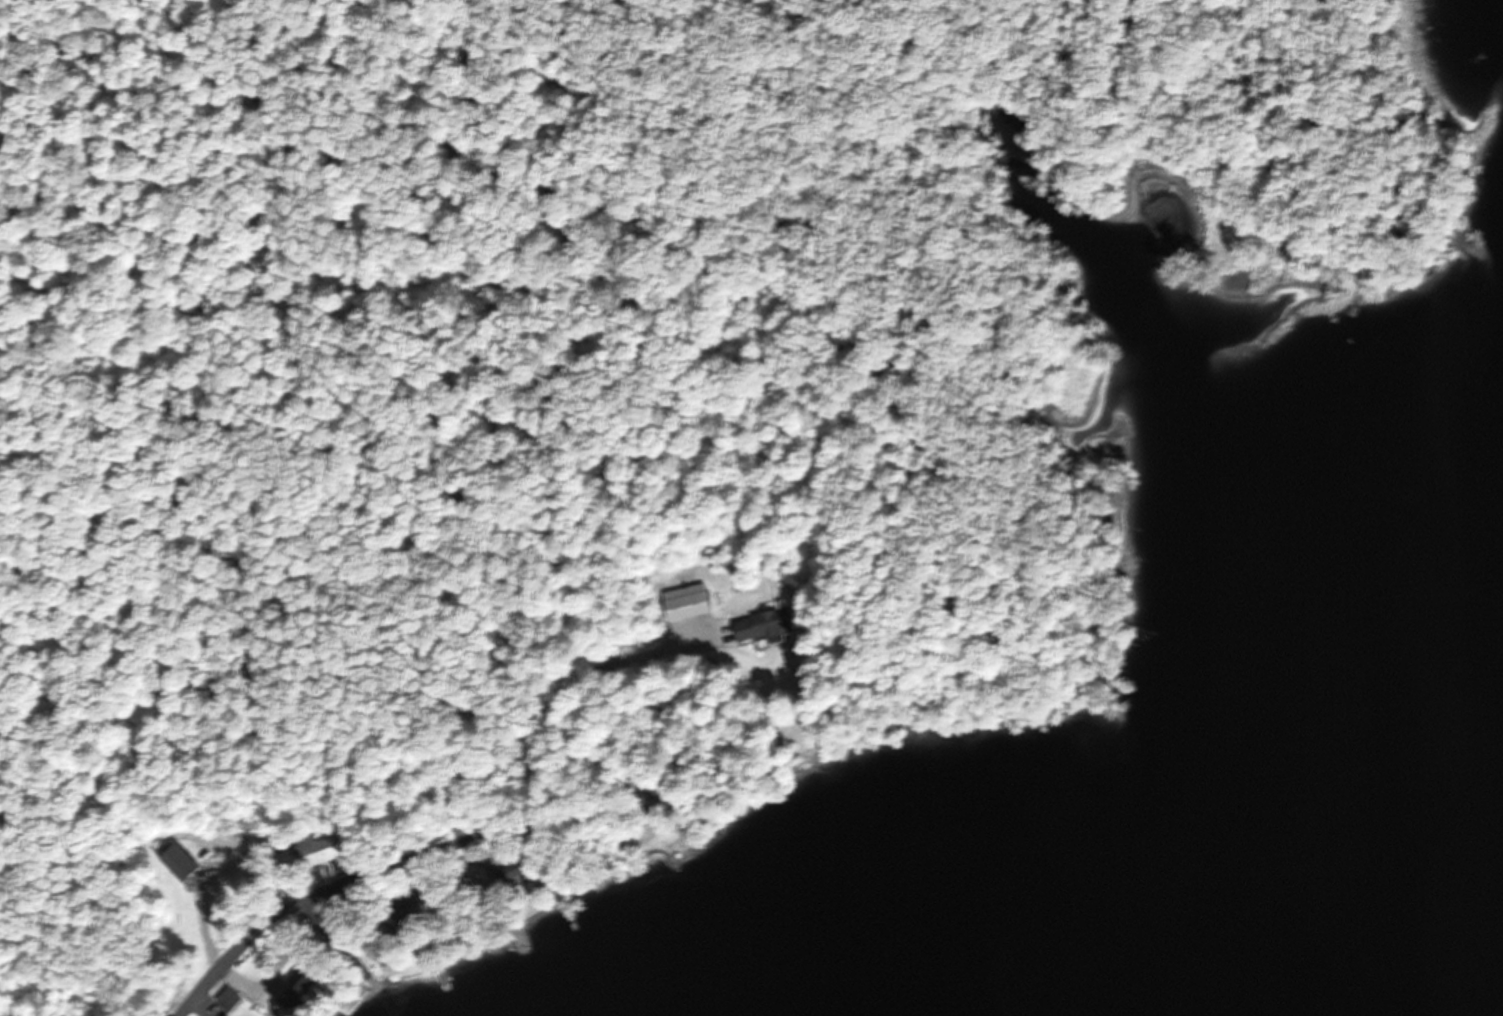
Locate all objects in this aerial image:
building: (689, 602)
building: (766, 625)
building: (329, 849)
building: (532, 869)
road: (368, 876)
building: (497, 877)
building: (417, 912)
road: (326, 926)
building: (297, 984)

